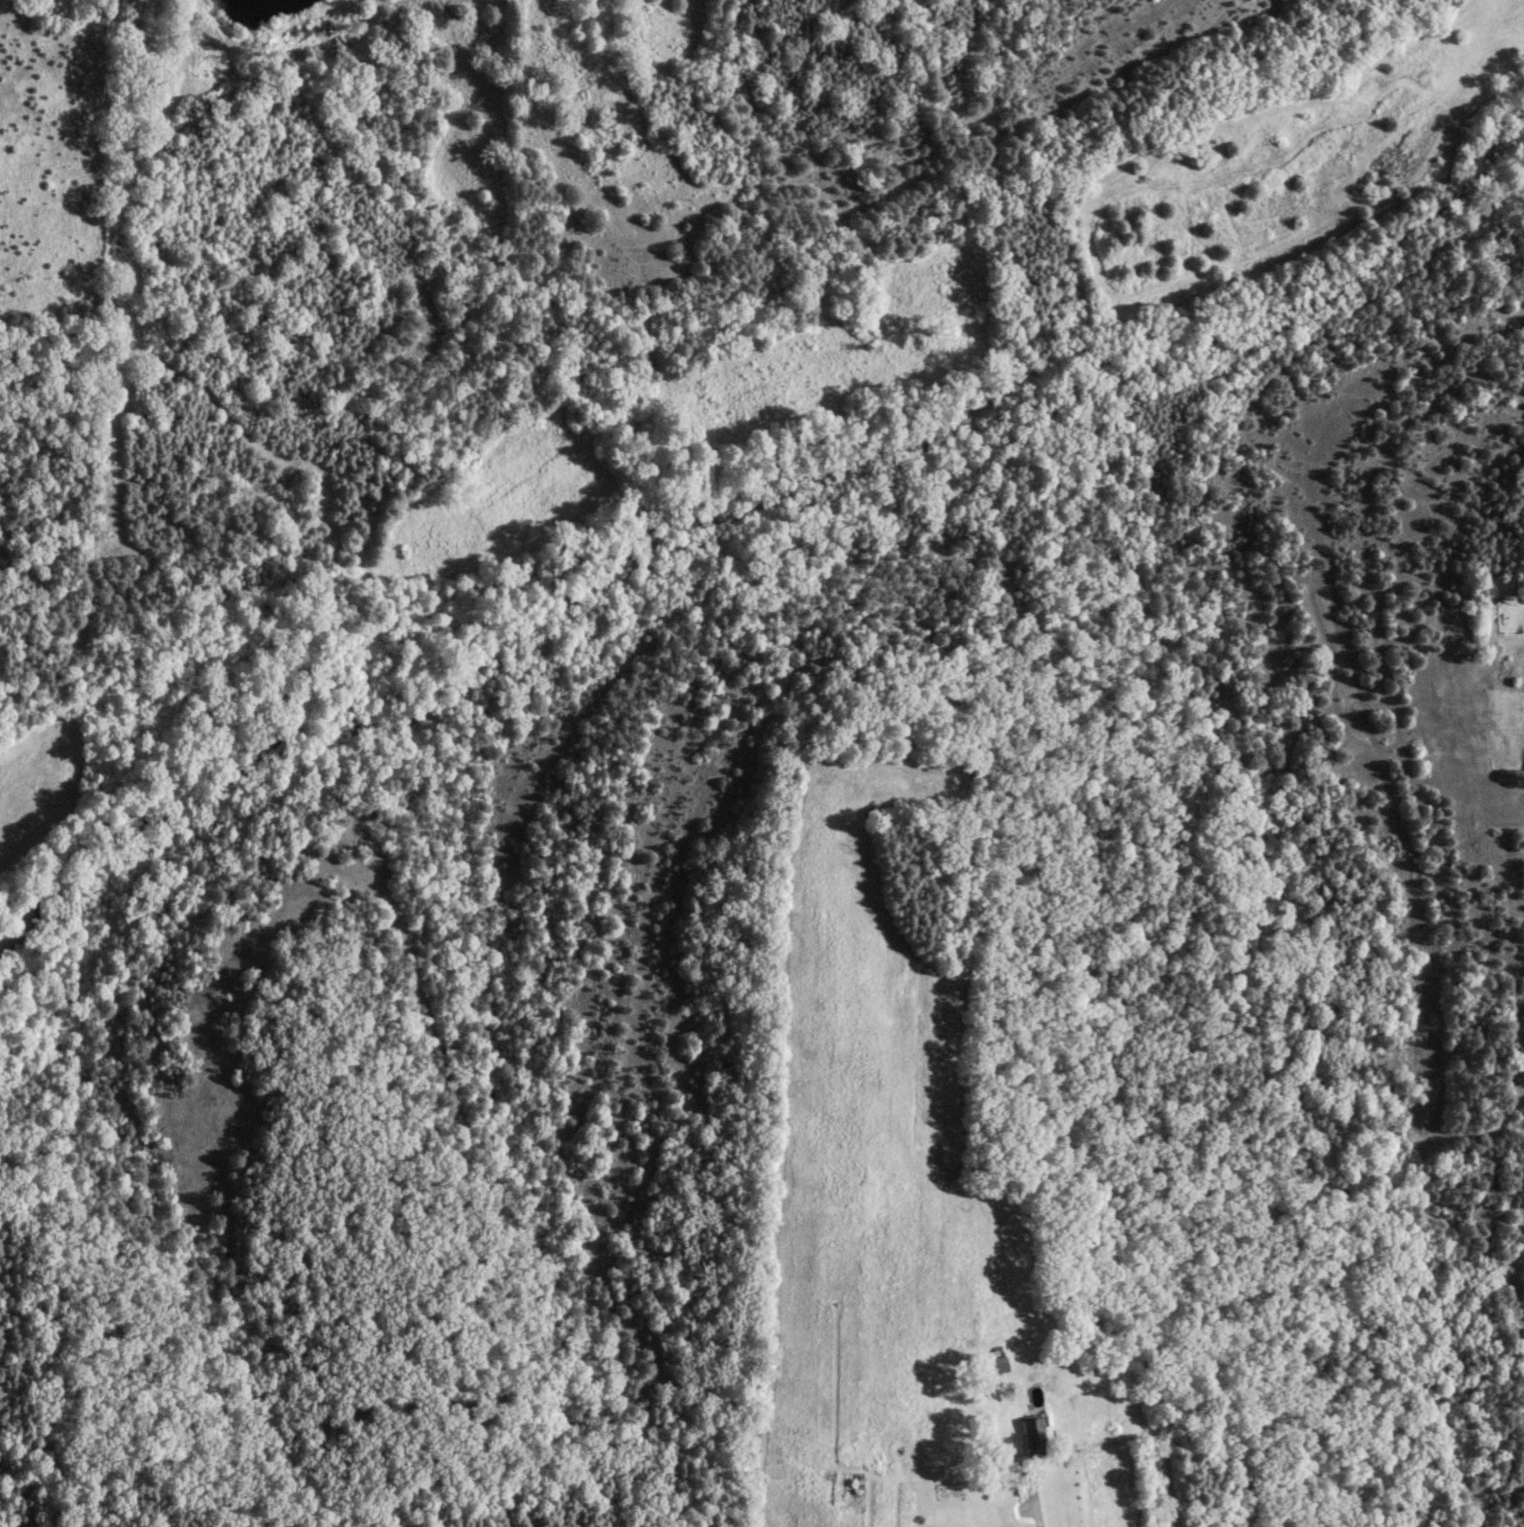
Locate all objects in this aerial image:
building: (998, 1364)
building: (1031, 1435)
road: (1037, 1513)

